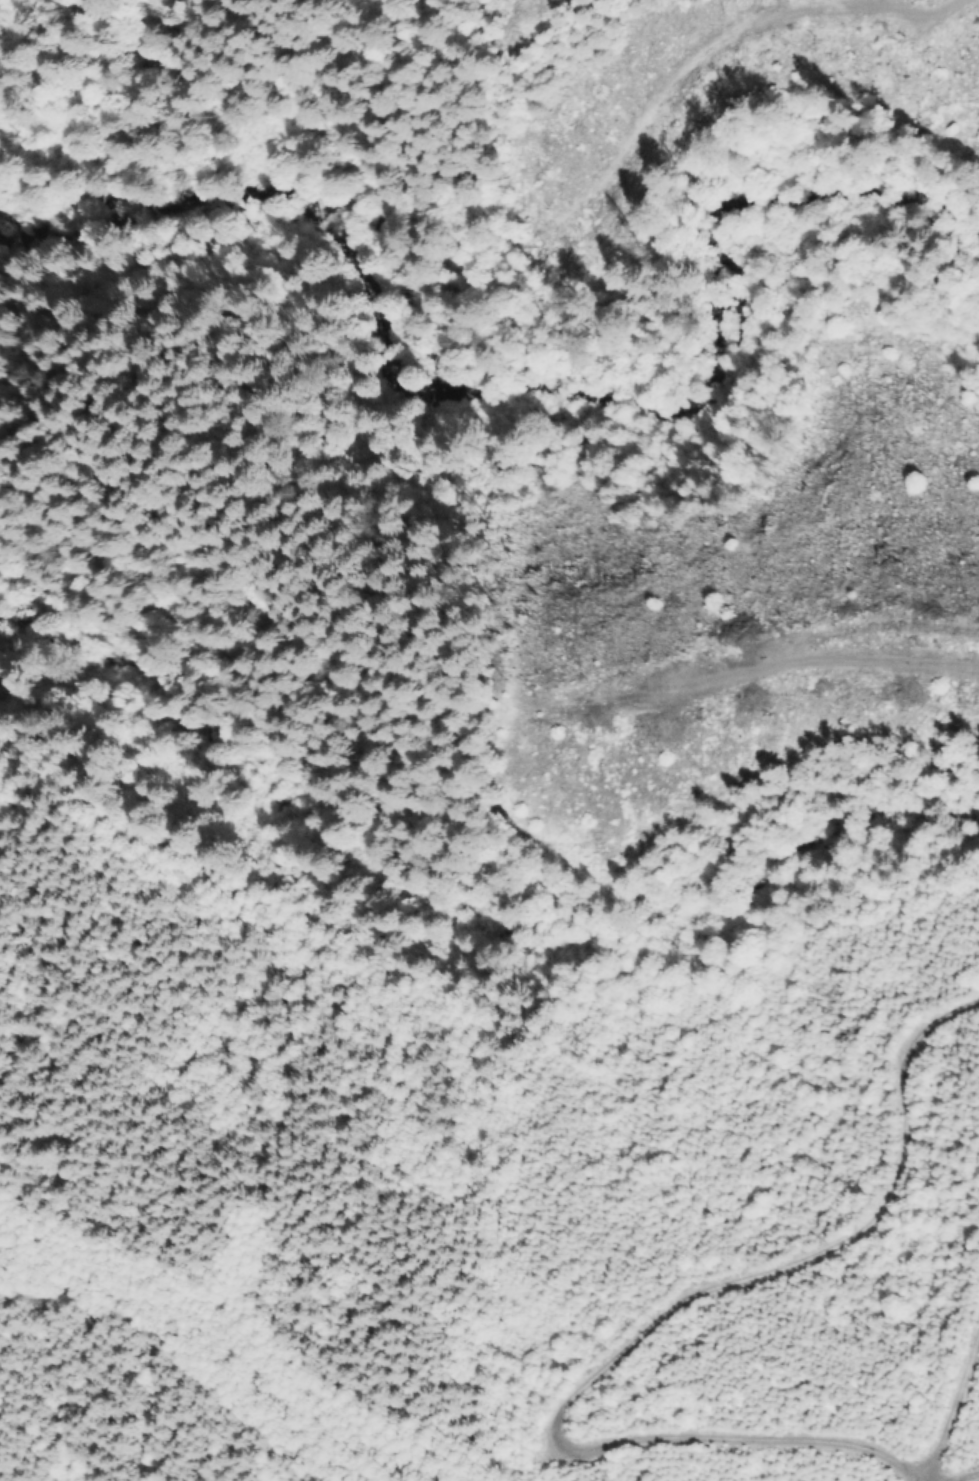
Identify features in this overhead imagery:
road: (649, 1328)

